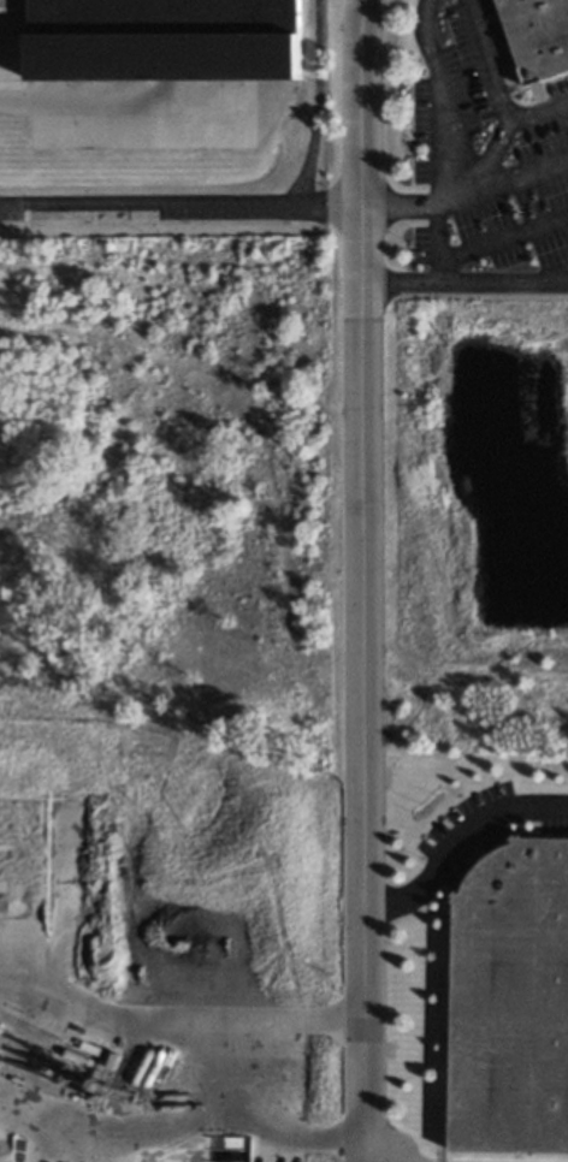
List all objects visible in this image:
road: (421, 24)
building: (537, 37)
building: (162, 38)
road: (485, 61)
road: (314, 103)
road: (538, 113)
road: (449, 153)
road: (493, 156)
parking lot: (483, 161)
road: (523, 174)
road: (456, 198)
road: (396, 206)
road: (179, 207)
road: (503, 238)
road: (438, 273)
road: (551, 278)
road: (446, 285)
road: (403, 446)
road: (360, 580)
road: (463, 666)
parking lot: (448, 828)
road: (456, 835)
building: (508, 1002)

